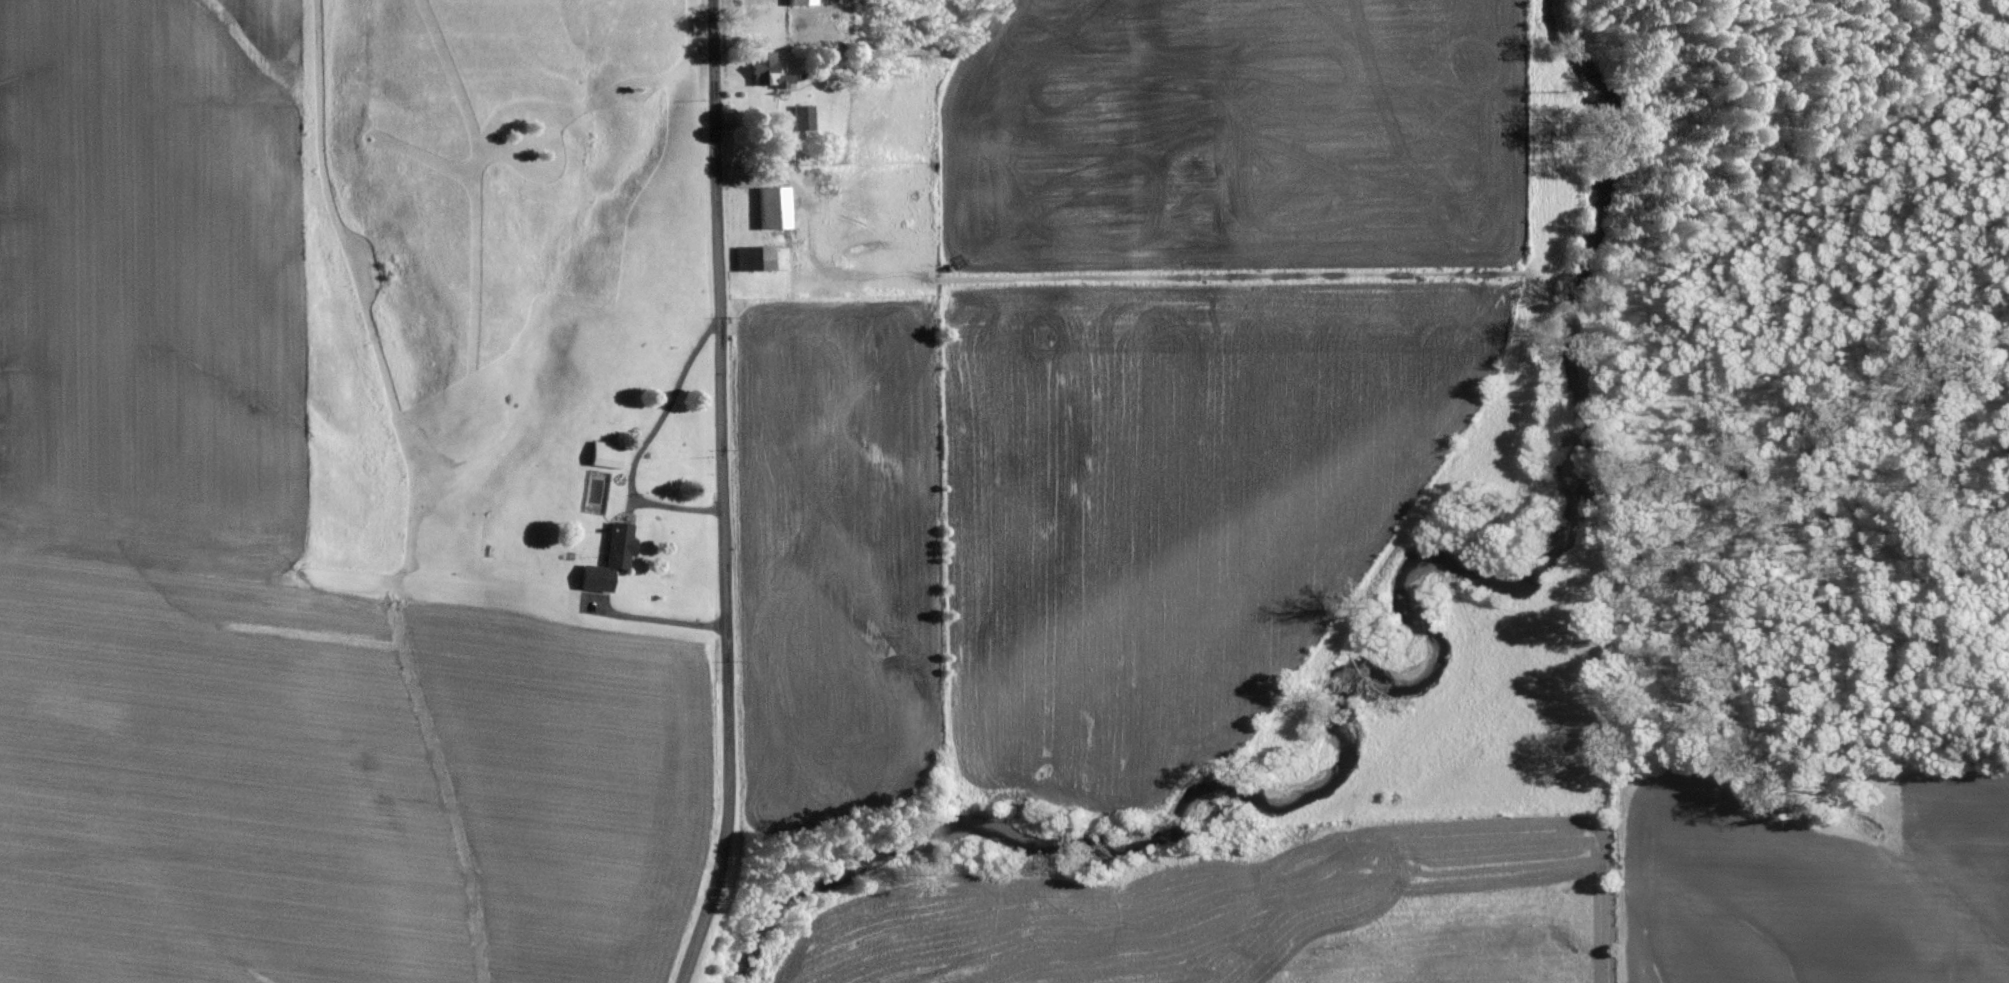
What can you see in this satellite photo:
building: (802, 3)
building: (768, 72)
building: (803, 117)
building: (773, 208)
building: (755, 258)
building: (606, 455)
road: (724, 495)
building: (610, 559)
road: (658, 621)

